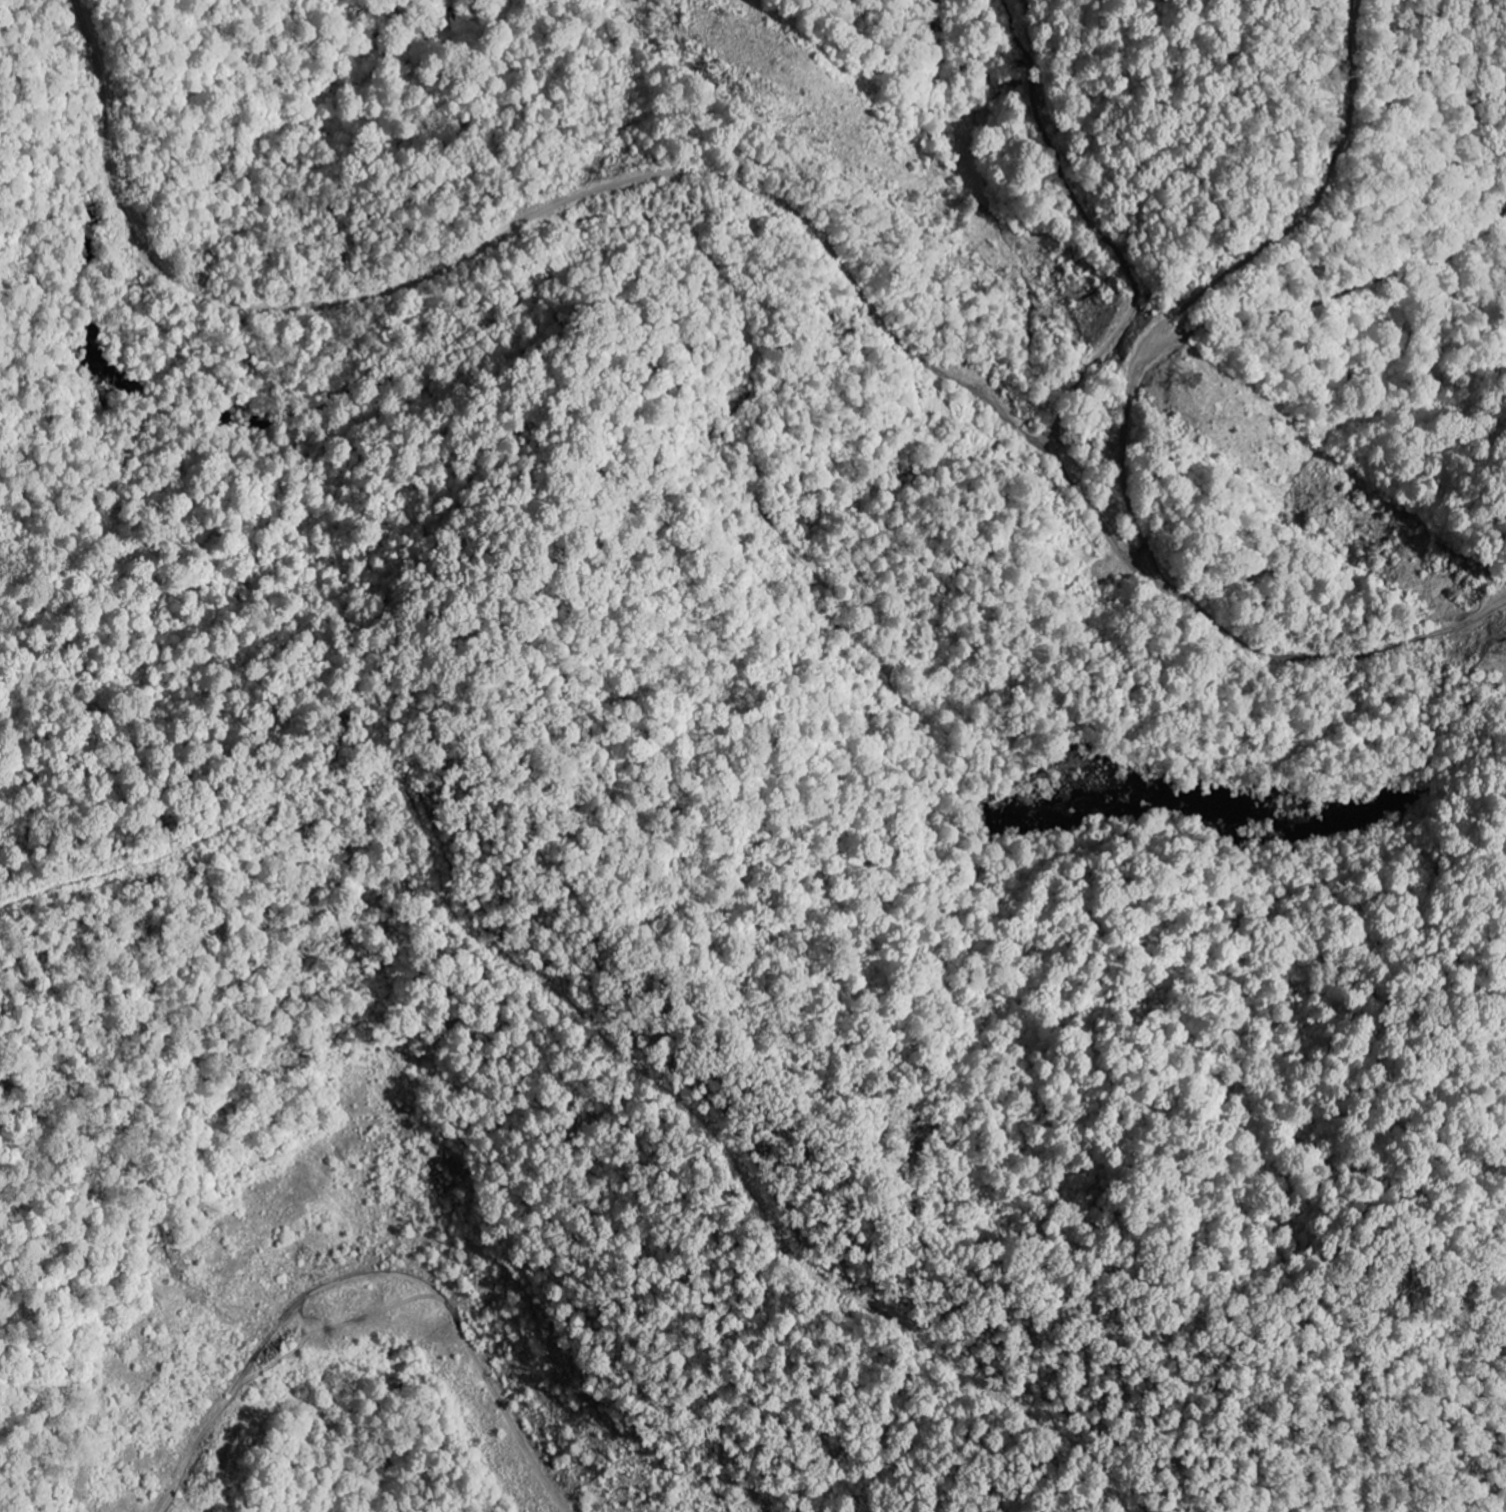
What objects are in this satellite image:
road: (1191, 458)

